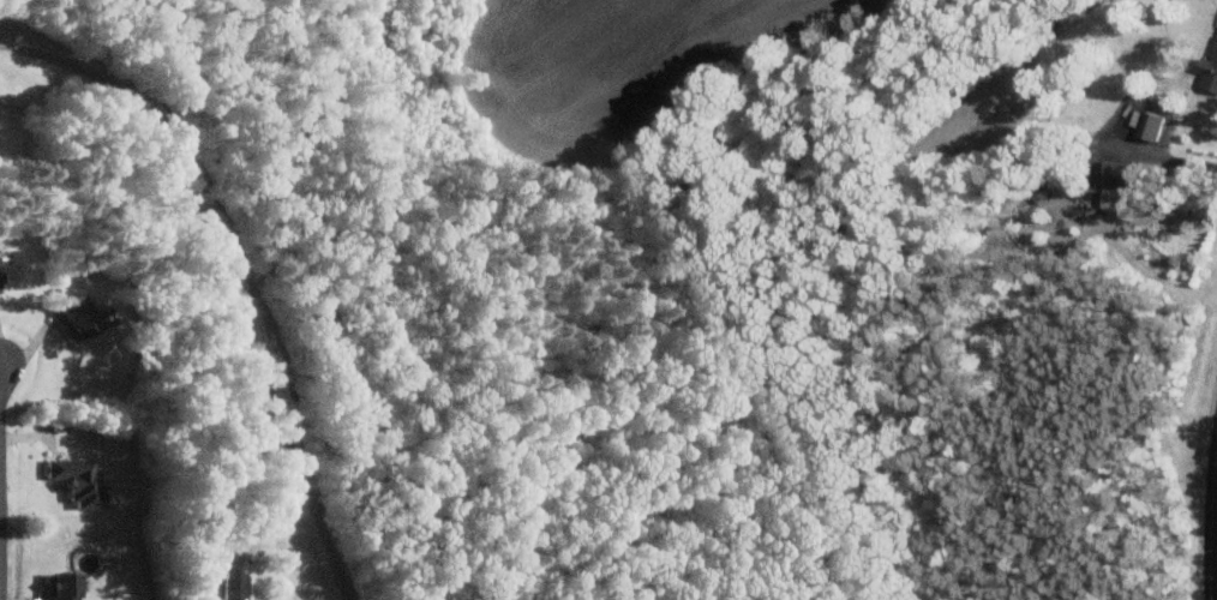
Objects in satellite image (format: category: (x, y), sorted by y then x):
building: (1207, 70)
building: (1147, 125)
road: (1140, 151)
building: (1111, 170)
building: (10, 274)
road: (226, 282)
building: (84, 316)
building: (85, 480)
road: (4, 497)
road: (1210, 516)
building: (240, 578)
building: (68, 586)

